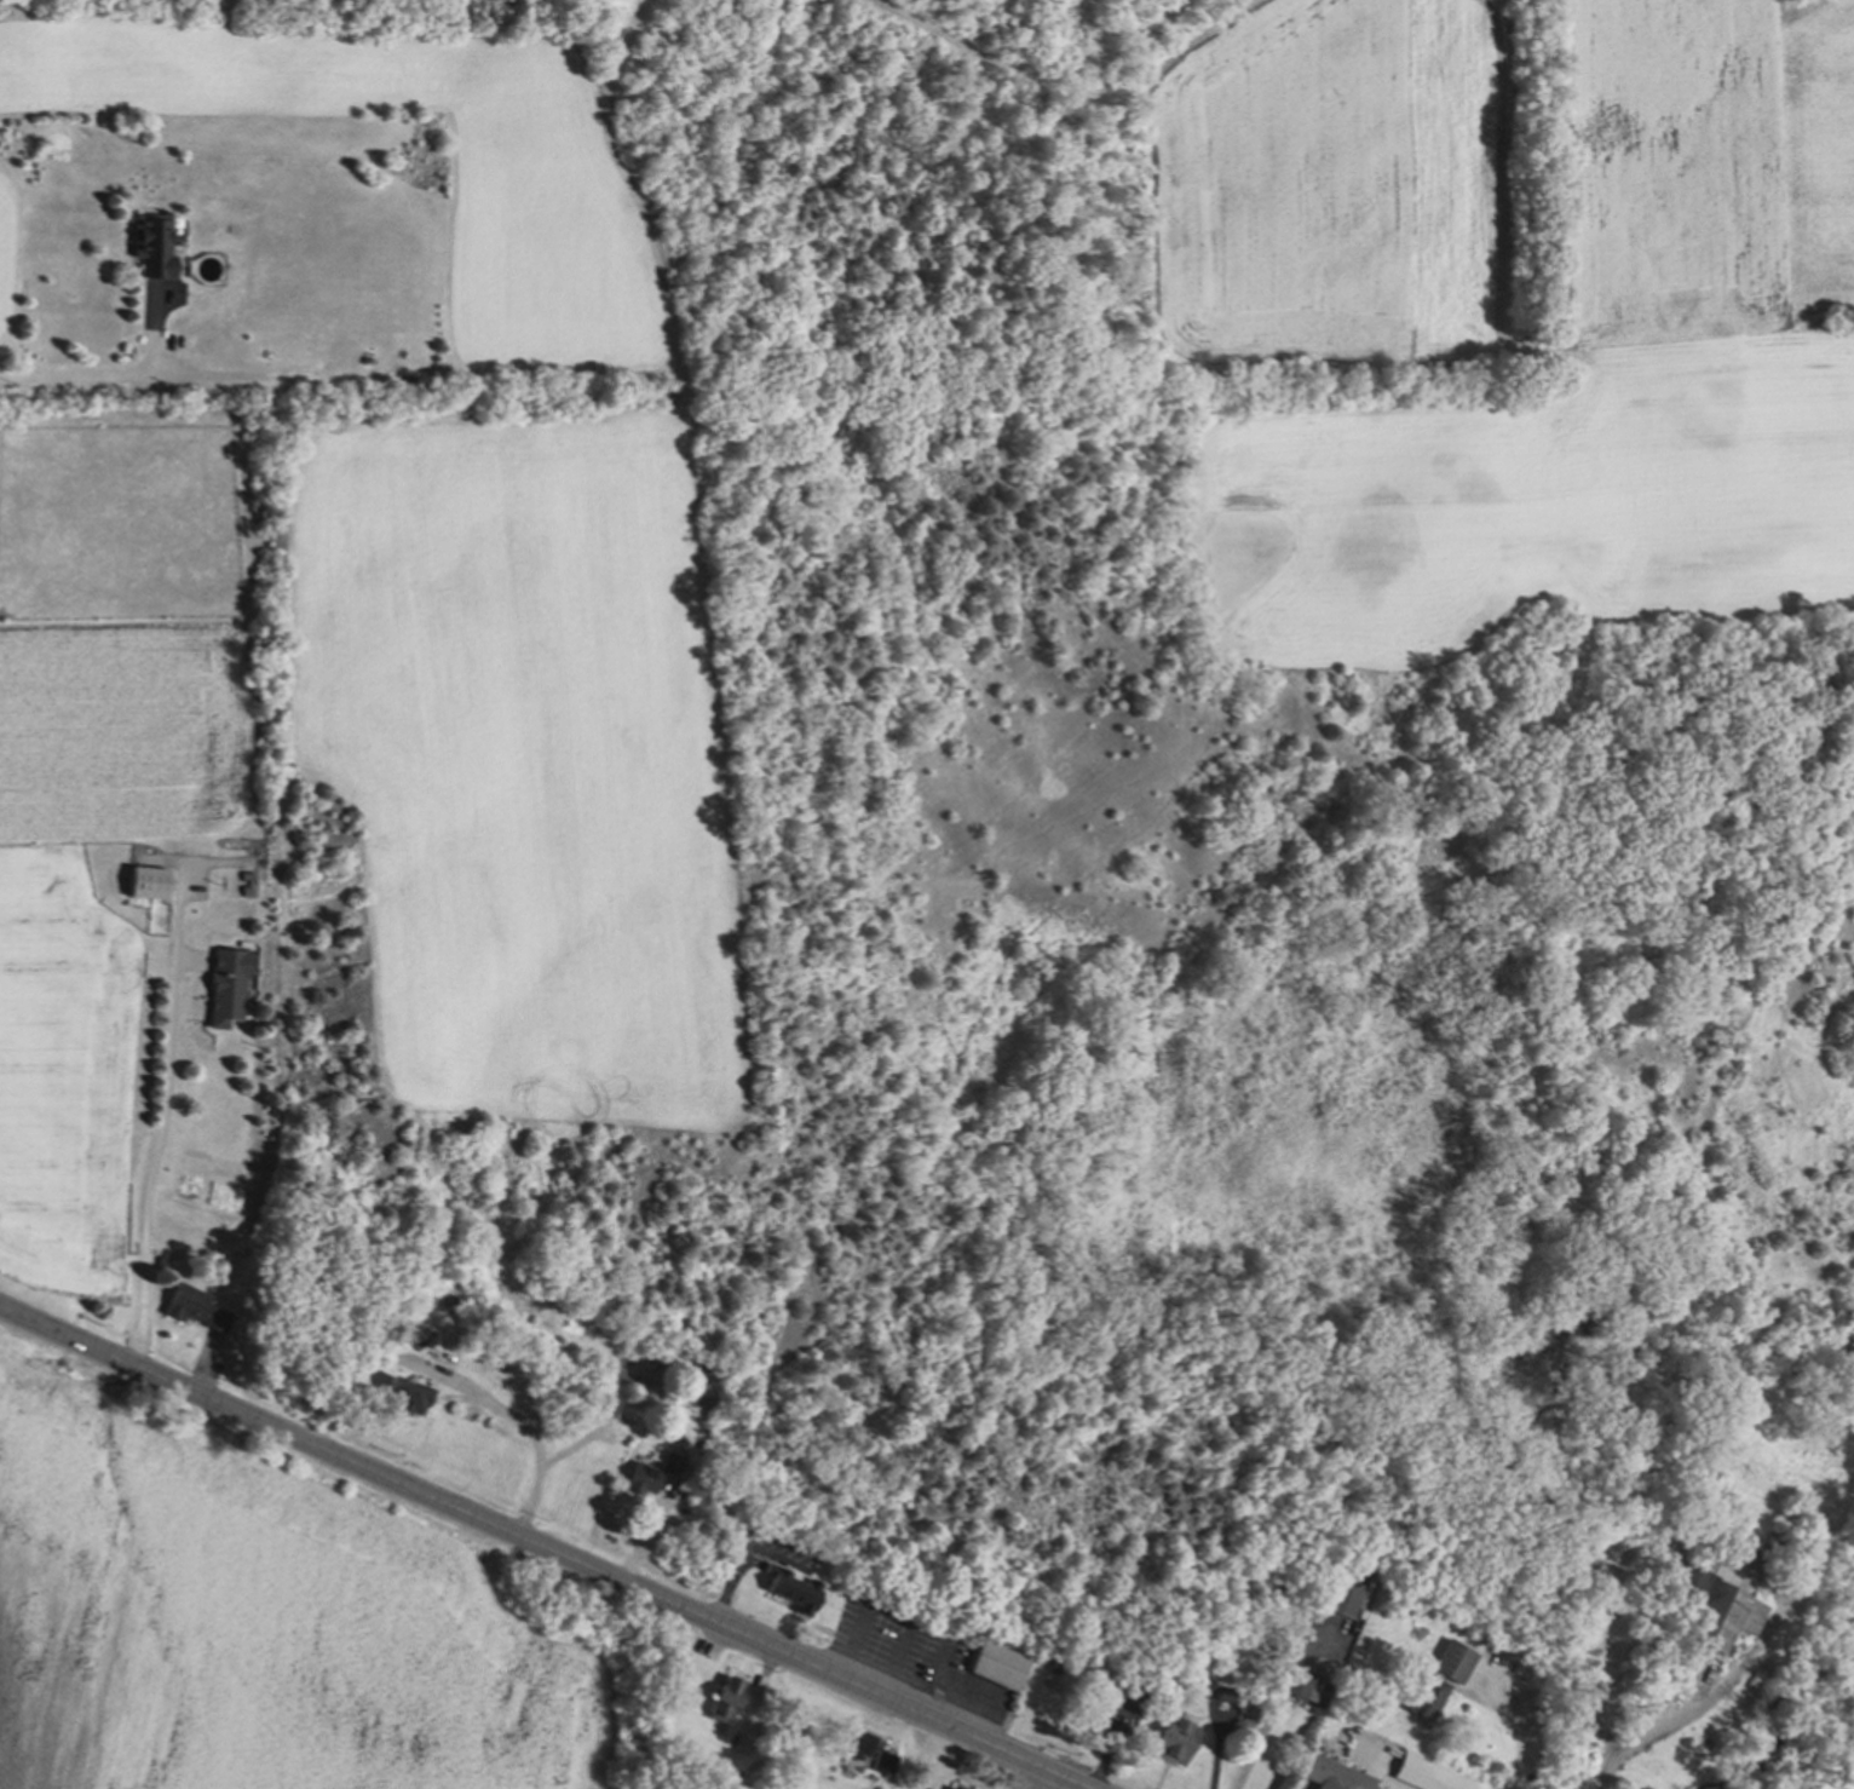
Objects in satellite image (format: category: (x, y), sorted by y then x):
building: (152, 247)
road: (87, 374)
building: (143, 878)
building: (225, 979)
road: (152, 1162)
building: (157, 1265)
building: (192, 1306)
building: (390, 1310)
building: (431, 1353)
road: (457, 1385)
building: (402, 1393)
building: (606, 1402)
building: (669, 1461)
building: (638, 1476)
road: (540, 1547)
building: (1345, 1584)
building: (788, 1588)
building: (1721, 1611)
road: (910, 1623)
parking lot: (914, 1656)
road: (891, 1659)
building: (997, 1663)
building: (1455, 1684)
building: (1308, 1687)
road: (1722, 1690)
building: (719, 1696)
building: (1110, 1701)
road: (1272, 1716)
road: (1518, 1728)
building: (1237, 1732)
building: (1174, 1739)
building: (851, 1743)
building: (880, 1765)
building: (1426, 1773)
building: (1331, 1776)
building: (954, 1788)

